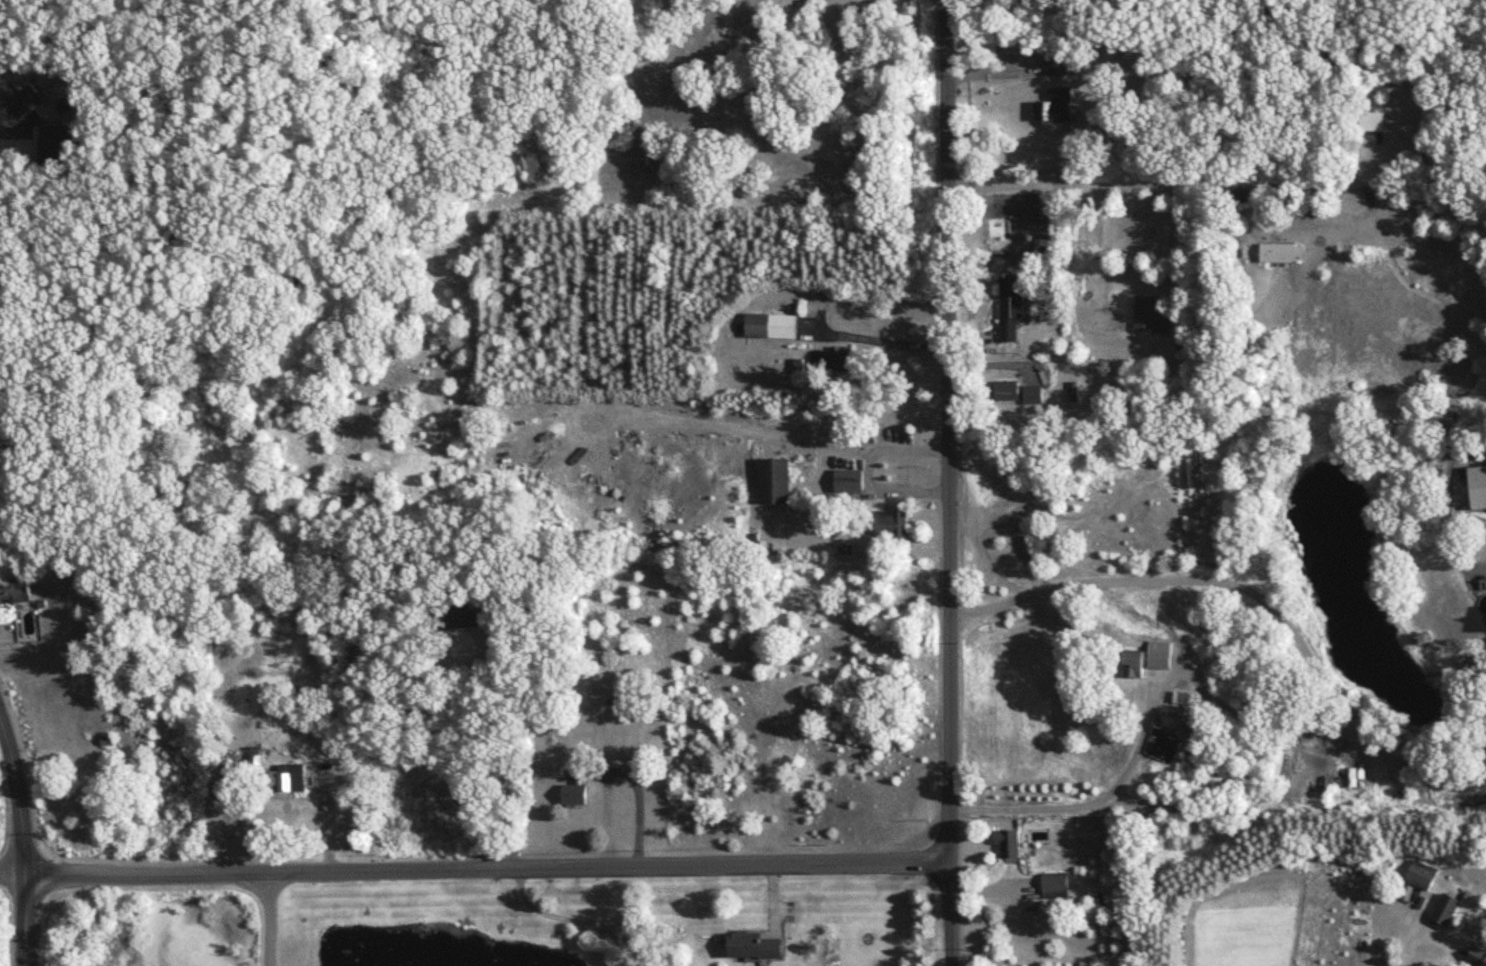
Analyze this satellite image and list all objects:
building: (1059, 64)
building: (19, 100)
building: (1060, 106)
building: (1376, 122)
road: (17, 131)
road: (1207, 187)
road: (1104, 249)
building: (1285, 254)
building: (1013, 311)
building: (1151, 316)
building: (773, 327)
road: (880, 343)
building: (1010, 392)
road: (948, 432)
road: (817, 448)
building: (777, 482)
building: (849, 485)
building: (1480, 487)
road: (888, 493)
building: (892, 527)
building: (14, 591)
road: (1252, 604)
building: (463, 618)
building: (1150, 661)
building: (109, 743)
road: (497, 754)
road: (1130, 765)
building: (292, 780)
building: (577, 790)
road: (18, 793)
road: (1217, 808)
road: (230, 835)
building: (1011, 846)
road: (486, 869)
road: (12, 875)
building: (1423, 876)
building: (1059, 887)
building: (1446, 912)
road: (948, 915)
road: (270, 919)
road: (25, 920)
road: (566, 922)
building: (756, 947)
building: (1477, 957)

